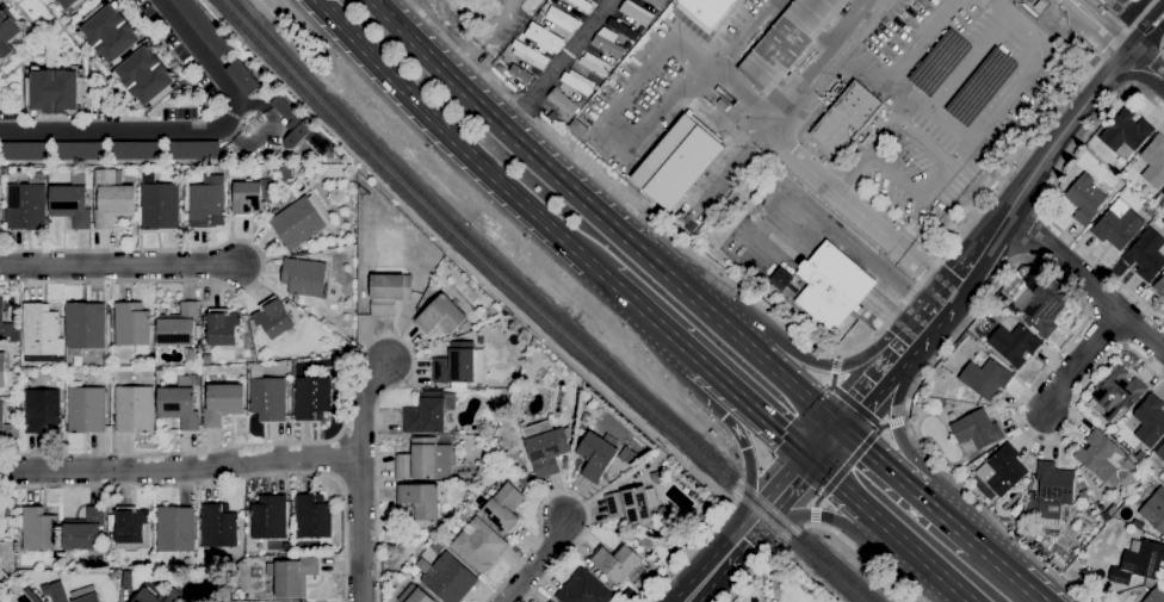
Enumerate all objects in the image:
building: (553, 1)
building: (69, 5)
building: (580, 5)
building: (1038, 6)
road: (996, 7)
building: (707, 10)
road: (404, 11)
building: (634, 14)
building: (539, 17)
building: (561, 19)
road: (1134, 20)
road: (1144, 24)
road: (1096, 25)
building: (203, 26)
building: (10, 35)
road: (1145, 37)
building: (543, 39)
building: (787, 42)
building: (607, 43)
building: (142, 55)
building: (528, 55)
building: (612, 62)
road: (965, 62)
building: (593, 64)
road: (1145, 66)
road: (561, 67)
building: (518, 74)
road: (1021, 75)
road: (893, 76)
building: (244, 79)
building: (576, 82)
road: (720, 87)
building: (595, 88)
building: (55, 92)
building: (561, 103)
road: (779, 107)
building: (551, 117)
building: (844, 118)
building: (292, 124)
building: (576, 129)
road: (267, 130)
road: (190, 132)
road: (1061, 134)
building: (1126, 134)
road: (457, 142)
building: (318, 145)
building: (136, 150)
building: (194, 150)
building: (25, 151)
building: (80, 151)
building: (676, 162)
building: (1153, 163)
building: (1116, 167)
building: (287, 173)
building: (768, 175)
building: (1163, 194)
building: (289, 197)
road: (1046, 197)
building: (112, 199)
building: (252, 199)
building: (1084, 199)
building: (70, 203)
building: (208, 203)
building: (159, 206)
building: (25, 207)
building: (1147, 210)
road: (600, 217)
building: (301, 222)
building: (1116, 225)
road: (835, 231)
road: (1027, 232)
road: (669, 238)
road: (987, 244)
building: (1146, 256)
road: (1011, 262)
road: (119, 265)
road: (262, 265)
building: (1022, 272)
building: (304, 278)
road: (961, 281)
building: (778, 283)
road: (1085, 284)
building: (831, 287)
building: (1159, 287)
building: (389, 293)
building: (1002, 298)
railway: (530, 309)
railway: (545, 309)
building: (1038, 309)
building: (440, 316)
building: (273, 318)
road: (651, 318)
road: (928, 323)
building: (7, 327)
building: (85, 327)
building: (132, 327)
building: (179, 327)
building: (222, 328)
building: (39, 330)
building: (1014, 345)
building: (191, 356)
building: (208, 359)
building: (78, 361)
road: (1078, 361)
building: (106, 362)
road: (700, 362)
road: (834, 365)
building: (459, 366)
building: (5, 373)
building: (984, 379)
road: (871, 389)
building: (1117, 395)
road: (841, 396)
building: (267, 397)
building: (312, 398)
road: (346, 398)
building: (181, 403)
building: (223, 404)
building: (86, 408)
building: (42, 410)
building: (134, 410)
building: (1, 412)
road: (756, 412)
building: (426, 415)
building: (951, 416)
building: (1148, 421)
road: (892, 423)
road: (897, 423)
traffic signals: (837, 428)
building: (977, 430)
road: (823, 443)
road: (744, 447)
building: (544, 448)
building: (1160, 454)
building: (596, 455)
building: (1140, 457)
building: (1101, 459)
building: (423, 460)
traffic signals: (810, 460)
road: (877, 461)
road: (179, 468)
building: (1001, 471)
road: (840, 473)
building: (464, 476)
building: (656, 477)
road: (230, 479)
road: (359, 479)
building: (524, 482)
road: (564, 494)
building: (1052, 494)
building: (1084, 496)
road: (775, 498)
building: (419, 501)
building: (632, 505)
road: (930, 505)
building: (503, 509)
building: (1154, 511)
road: (816, 516)
building: (1104, 516)
building: (312, 517)
building: (268, 520)
building: (218, 527)
building: (130, 528)
building: (175, 529)
building: (38, 530)
building: (85, 530)
road: (887, 530)
road: (960, 530)
road: (790, 534)
building: (1026, 534)
building: (111, 539)
building: (479, 546)
road: (696, 546)
building: (286, 547)
building: (436, 547)
road: (731, 550)
road: (862, 556)
road: (539, 563)
building: (615, 563)
building: (1138, 563)
building: (204, 564)
road: (749, 572)
road: (1009, 573)
building: (292, 576)
building: (446, 578)
building: (128, 581)
road: (704, 582)
building: (583, 589)
building: (54, 592)
building: (31, 595)
building: (86, 595)
building: (160, 596)
building: (419, 596)
building: (1154, 596)
building: (1110, 600)
building: (549, 601)
building: (551, 601)

